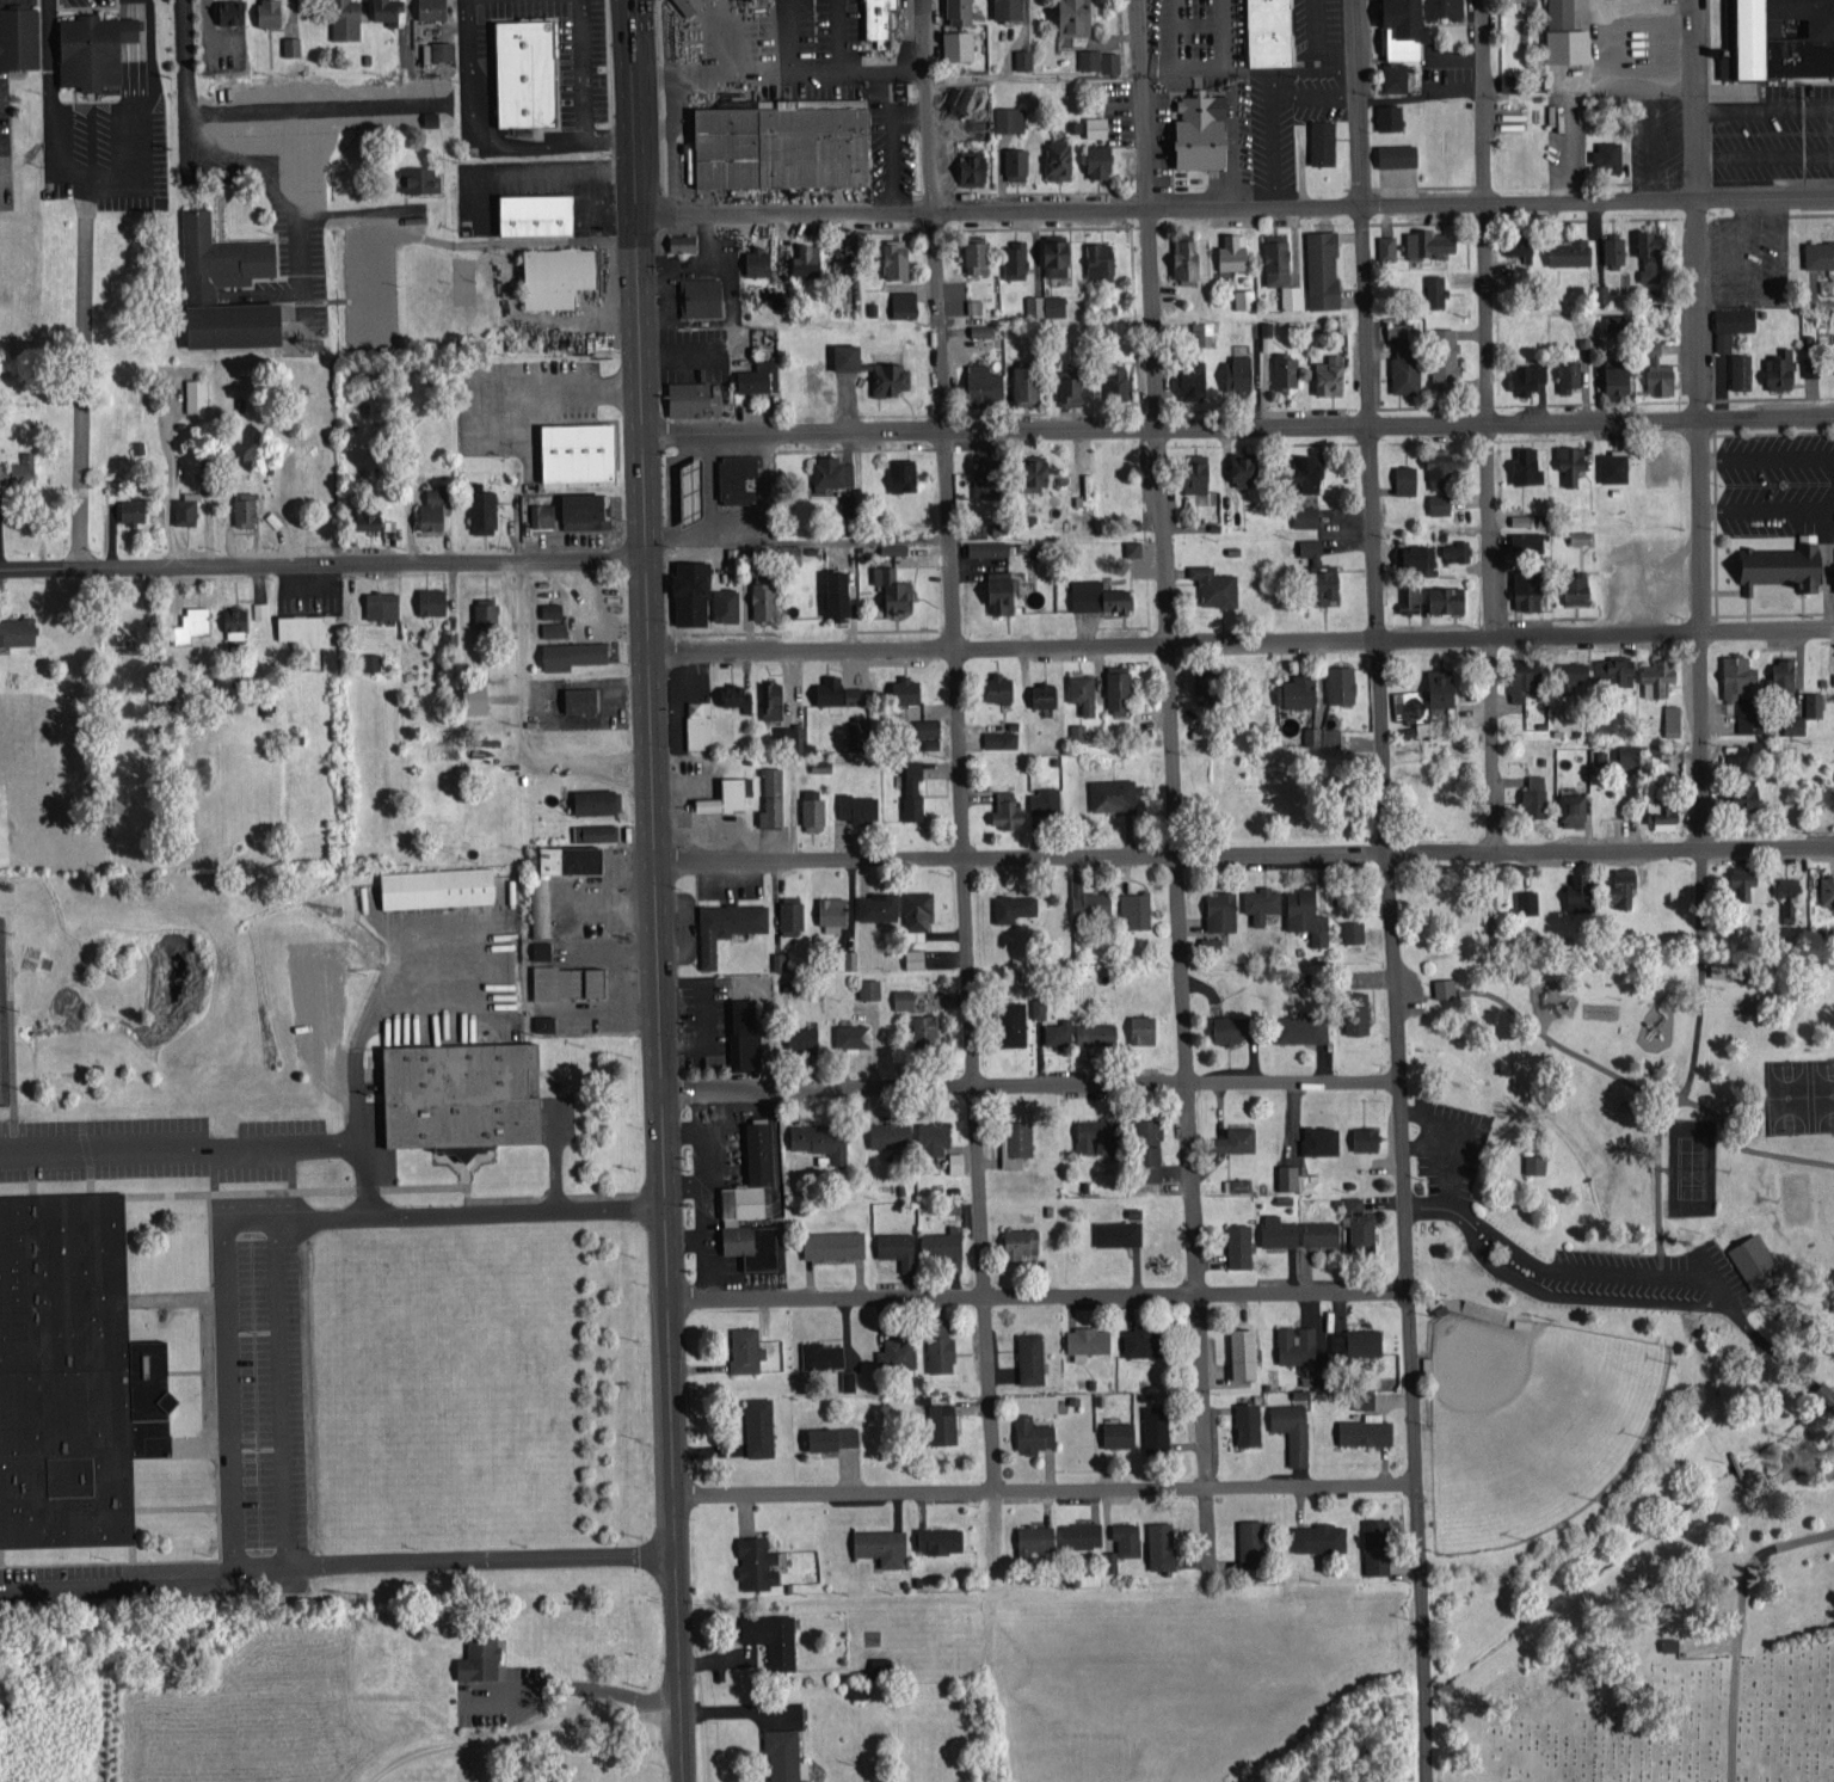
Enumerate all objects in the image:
building: (691, 5)
building: (387, 8)
building: (432, 8)
building: (1009, 8)
building: (232, 11)
building: (961, 11)
building: (270, 12)
building: (1078, 17)
building: (346, 18)
building: (881, 20)
building: (1402, 29)
building: (1270, 32)
building: (1567, 33)
building: (19, 37)
building: (1777, 39)
road: (628, 41)
building: (959, 43)
building: (291, 44)
building: (92, 50)
building: (437, 50)
road: (141, 54)
road: (133, 57)
building: (1023, 57)
building: (1090, 57)
road: (123, 59)
building: (1110, 60)
road: (581, 68)
building: (524, 75)
building: (1395, 75)
road: (189, 80)
building: (1509, 81)
building: (1390, 116)
building: (1009, 117)
building: (1096, 125)
building: (1199, 131)
parking lot: (1774, 131)
road: (480, 139)
building: (1324, 141)
building: (786, 142)
building: (1398, 154)
building: (1610, 154)
building: (1059, 156)
building: (1100, 160)
building: (1016, 162)
building: (974, 167)
road: (97, 168)
building: (420, 179)
road: (1235, 204)
building: (535, 216)
building: (684, 241)
building: (1430, 241)
building: (1386, 247)
building: (1613, 247)
building: (1520, 248)
building: (1233, 251)
building: (1570, 251)
building: (1816, 252)
building: (1651, 253)
building: (1057, 254)
building: (978, 256)
building: (898, 257)
building: (1187, 257)
building: (1101, 258)
building: (1015, 259)
building: (757, 260)
building: (807, 260)
building: (1281, 268)
building: (1322, 268)
building: (560, 275)
building: (1435, 289)
building: (199, 290)
building: (702, 295)
building: (1243, 296)
building: (905, 301)
building: (974, 303)
building: (1045, 303)
building: (1733, 322)
building: (1260, 326)
power tower: (320, 348)
building: (1832, 361)
building: (1447, 362)
building: (874, 367)
building: (1407, 367)
building: (1780, 367)
road: (81, 368)
building: (1286, 368)
building: (1740, 369)
building: (1239, 370)
building: (1660, 371)
building: (1331, 373)
building: (1569, 373)
building: (1528, 374)
building: (758, 375)
building: (1193, 376)
building: (1619, 379)
building: (1119, 381)
building: (1027, 382)
building: (986, 383)
building: (1072, 387)
building: (197, 393)
building: (691, 397)
parking lot: (519, 400)
road: (1237, 424)
road: (1489, 426)
road: (1366, 428)
building: (581, 449)
road: (1698, 454)
building: (1570, 460)
building: (1617, 461)
building: (1526, 465)
building: (19, 466)
building: (1245, 467)
building: (1440, 468)
building: (1039, 469)
building: (832, 471)
building: (1311, 471)
building: (904, 473)
building: (987, 475)
building: (1196, 475)
gas station: (738, 477)
building: (739, 477)
building: (1405, 478)
parking lot: (1774, 483)
building: (211, 485)
building: (694, 487)
building: (849, 500)
building: (1439, 502)
building: (245, 506)
building: (131, 508)
building: (484, 508)
building: (185, 509)
building: (572, 510)
building: (430, 512)
building: (369, 515)
building: (1305, 515)
building: (1082, 522)
building: (1581, 535)
building: (1527, 537)
building: (1133, 545)
building: (894, 546)
building: (987, 546)
building: (1457, 547)
building: (1417, 553)
road: (322, 563)
building: (1779, 566)
building: (1322, 570)
building: (1216, 583)
building: (894, 586)
building: (1528, 586)
building: (1577, 586)
building: (693, 590)
building: (1002, 590)
building: (841, 591)
building: (765, 592)
building: (1100, 594)
building: (1409, 596)
building: (1447, 596)
building: (432, 600)
building: (382, 602)
building: (727, 602)
building: (259, 608)
building: (553, 608)
building: (487, 610)
building: (236, 621)
building: (193, 622)
building: (554, 627)
building: (18, 628)
building: (301, 628)
road: (1241, 643)
road: (647, 644)
building: (572, 652)
building: (373, 659)
building: (1614, 670)
building: (1784, 671)
building: (1737, 674)
building: (1526, 675)
building: (1575, 675)
building: (1656, 675)
building: (1341, 681)
building: (1442, 684)
building: (1001, 686)
building: (1207, 687)
building: (906, 688)
building: (1120, 688)
building: (1298, 689)
building: (838, 690)
building: (1084, 690)
building: (732, 692)
building: (1044, 693)
building: (478, 696)
building: (581, 698)
building: (773, 698)
building: (1814, 702)
building: (1672, 718)
building: (698, 723)
building: (856, 730)
building: (1077, 730)
building: (790, 735)
building: (1002, 737)
road: (958, 745)
building: (1632, 754)
road: (1173, 768)
building: (913, 788)
building: (1534, 789)
building: (1114, 793)
building: (727, 794)
building: (771, 795)
building: (1750, 797)
building: (598, 799)
building: (1045, 801)
building: (858, 805)
building: (813, 806)
building: (1575, 806)
building: (1008, 807)
building: (1663, 811)
building: (595, 830)
road: (1244, 858)
building: (1744, 877)
building: (1624, 884)
building: (439, 885)
building: (1827, 887)
building: (1582, 891)
building: (1787, 893)
building: (1089, 899)
building: (1527, 899)
building: (541, 902)
building: (1262, 902)
building: (878, 904)
building: (1015, 905)
building: (1136, 908)
building: (1223, 909)
building: (792, 912)
building: (832, 912)
building: (917, 912)
building: (1306, 912)
building: (727, 924)
building: (1353, 929)
building: (542, 947)
building: (916, 955)
building: (850, 957)
building: (778, 959)
building: (1729, 967)
building: (570, 979)
building: (1445, 985)
building: (869, 987)
building: (903, 996)
building: (1038, 1006)
building: (1359, 1015)
building: (546, 1021)
building: (1015, 1021)
building: (1235, 1026)
building: (927, 1027)
building: (1144, 1027)
building: (1304, 1027)
park: (1, 1028)
building: (747, 1031)
building: (1059, 1031)
building: (1098, 1032)
building: (853, 1033)
building: (802, 1037)
road: (1027, 1083)
park: (1802, 1096)
building: (460, 1099)
building: (891, 1133)
building: (1095, 1133)
building: (934, 1136)
building: (1366, 1136)
building: (1238, 1137)
building: (1321, 1137)
building: (820, 1138)
building: (1151, 1138)
building: (1017, 1141)
road: (362, 1142)
road: (144, 1145)
building: (958, 1161)
building: (1535, 1161)
park: (1692, 1169)
building: (1287, 1174)
building: (752, 1203)
road: (272, 1219)
building: (1361, 1225)
building: (1278, 1229)
building: (1321, 1230)
building: (1119, 1231)
building: (1021, 1241)
building: (836, 1242)
building: (1239, 1243)
building: (942, 1245)
building: (898, 1247)
road: (670, 1255)
building: (1756, 1261)
road: (1537, 1285)
road: (1038, 1295)
road: (1405, 1319)
park: (1621, 1319)
building: (1143, 1339)
building: (1088, 1340)
building: (1358, 1340)
building: (1297, 1344)
building: (746, 1347)
building: (941, 1350)
road: (1773, 1350)
building: (1245, 1351)
building: (898, 1352)
building: (824, 1353)
building: (1032, 1356)
building: (72, 1376)
building: (848, 1378)
road: (278, 1390)
road: (675, 1400)
building: (943, 1421)
building: (1248, 1421)
park: (1530, 1422)
building: (759, 1425)
building: (1156, 1427)
building: (1293, 1427)
building: (1367, 1428)
building: (1034, 1432)
building: (1120, 1432)
building: (835, 1436)
road: (1045, 1491)
building: (1082, 1532)
building: (1321, 1536)
building: (1127, 1537)
building: (938, 1538)
building: (1034, 1538)
building: (1253, 1541)
building: (1161, 1543)
building: (882, 1544)
building: (1377, 1544)
road: (337, 1559)
building: (1110, 1559)
building: (757, 1561)
road: (1737, 1626)
building: (773, 1636)
road: (677, 1639)
building: (1670, 1641)
building: (480, 1655)
building: (880, 1663)
road: (573, 1689)
parking lot: (501, 1694)
park: (1674, 1727)
road: (518, 1729)
building: (786, 1755)

